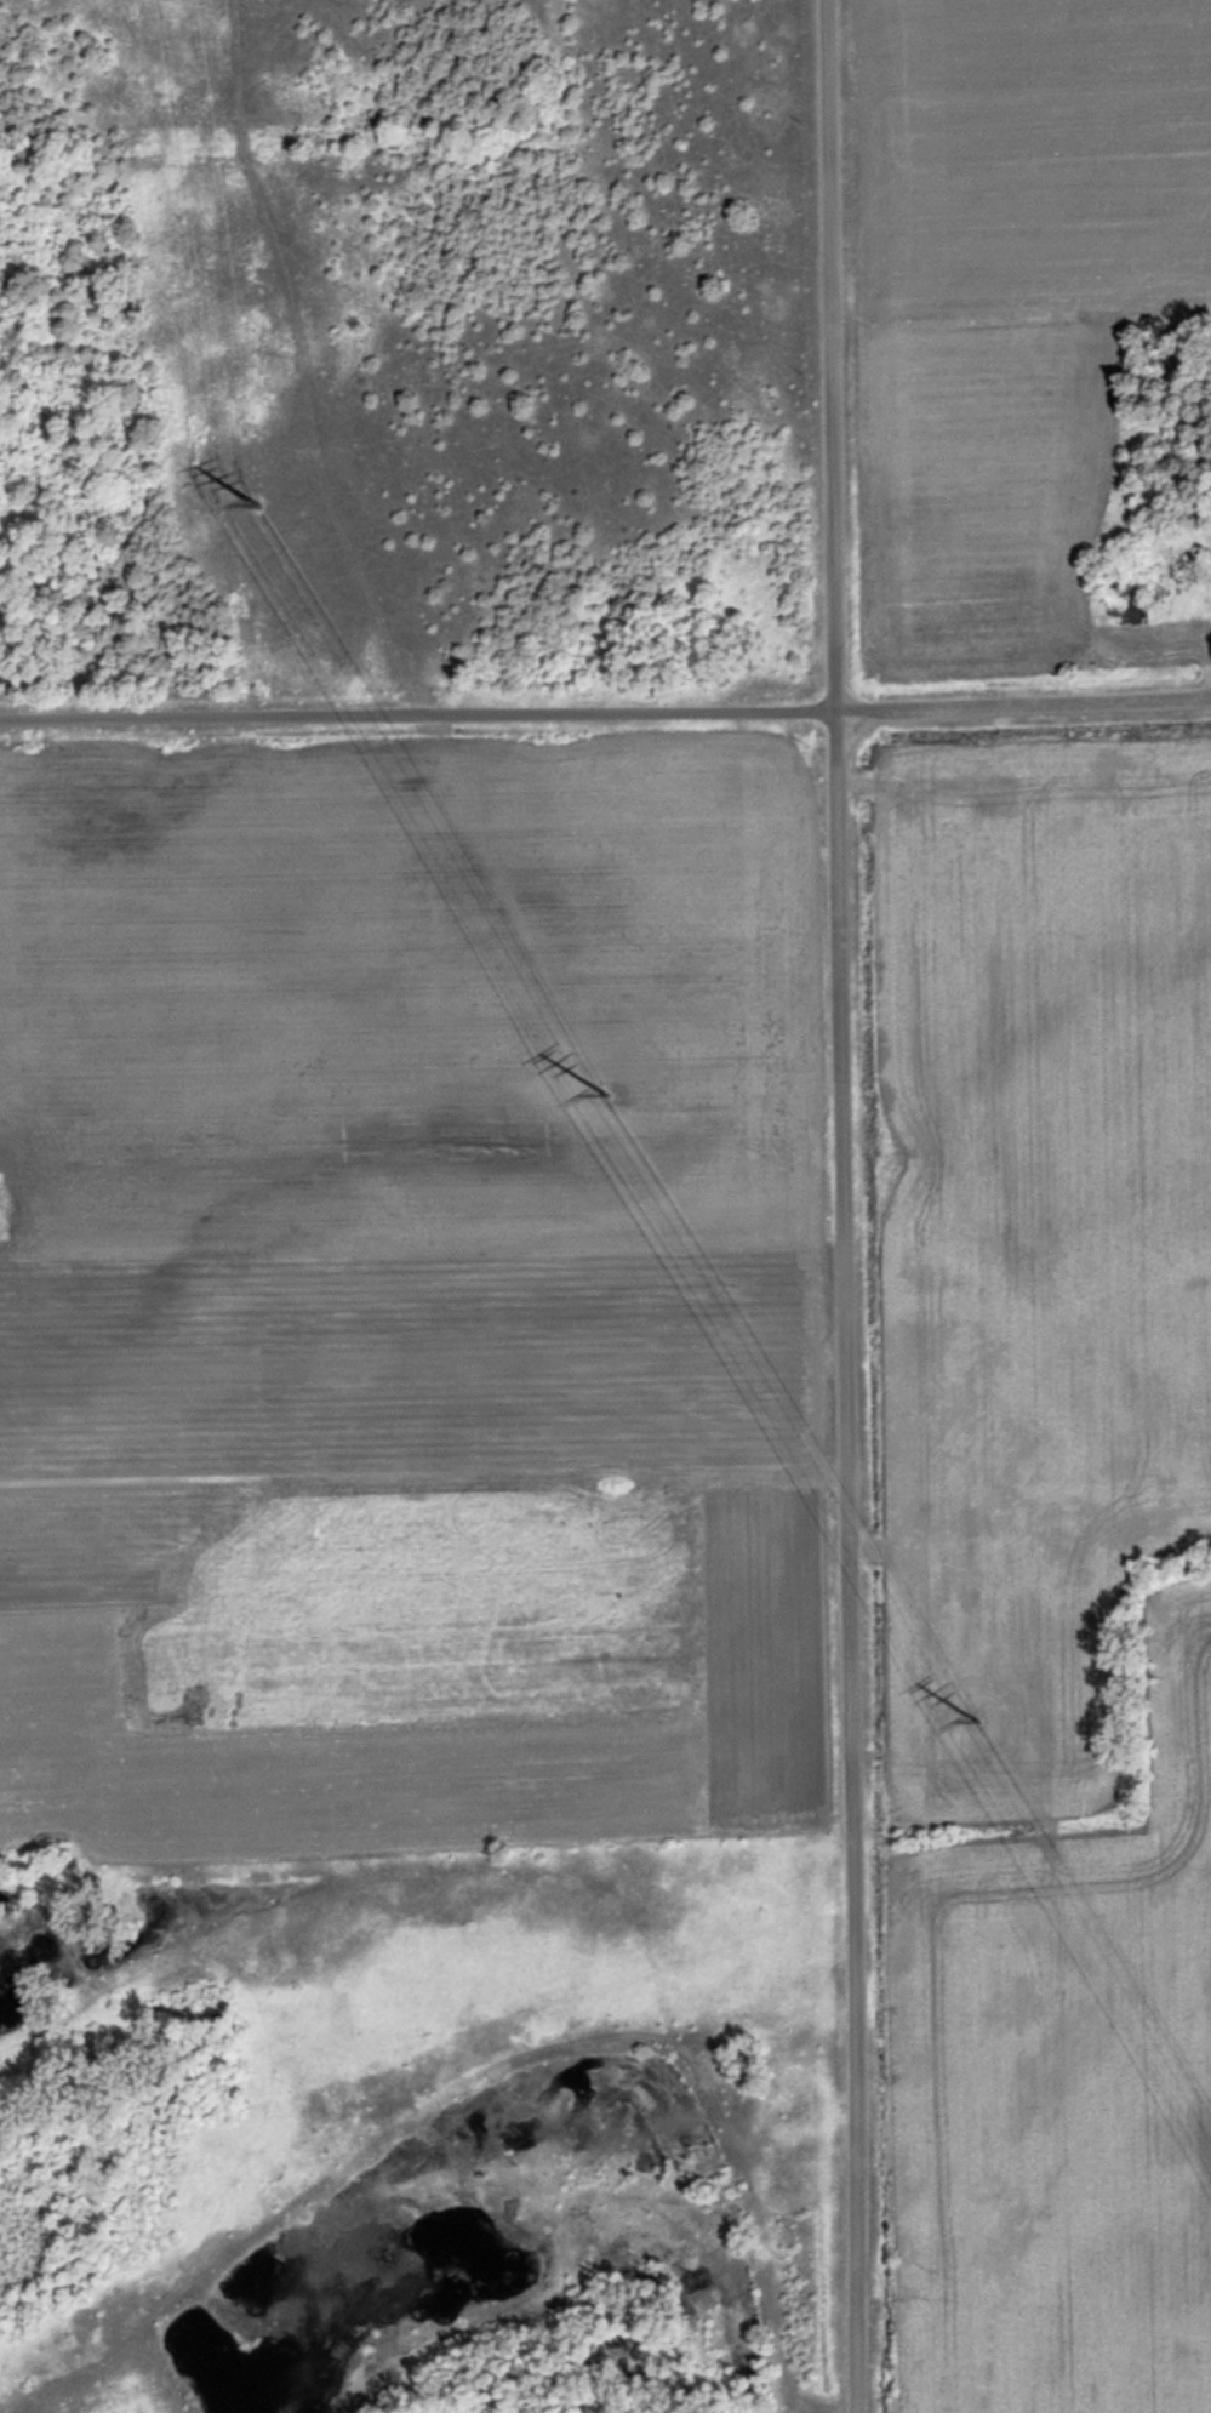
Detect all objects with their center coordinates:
power tower: (252, 500)
building: (1113, 581)
road: (605, 715)
power tower: (605, 1084)
road: (840, 1206)
power tower: (972, 1712)

